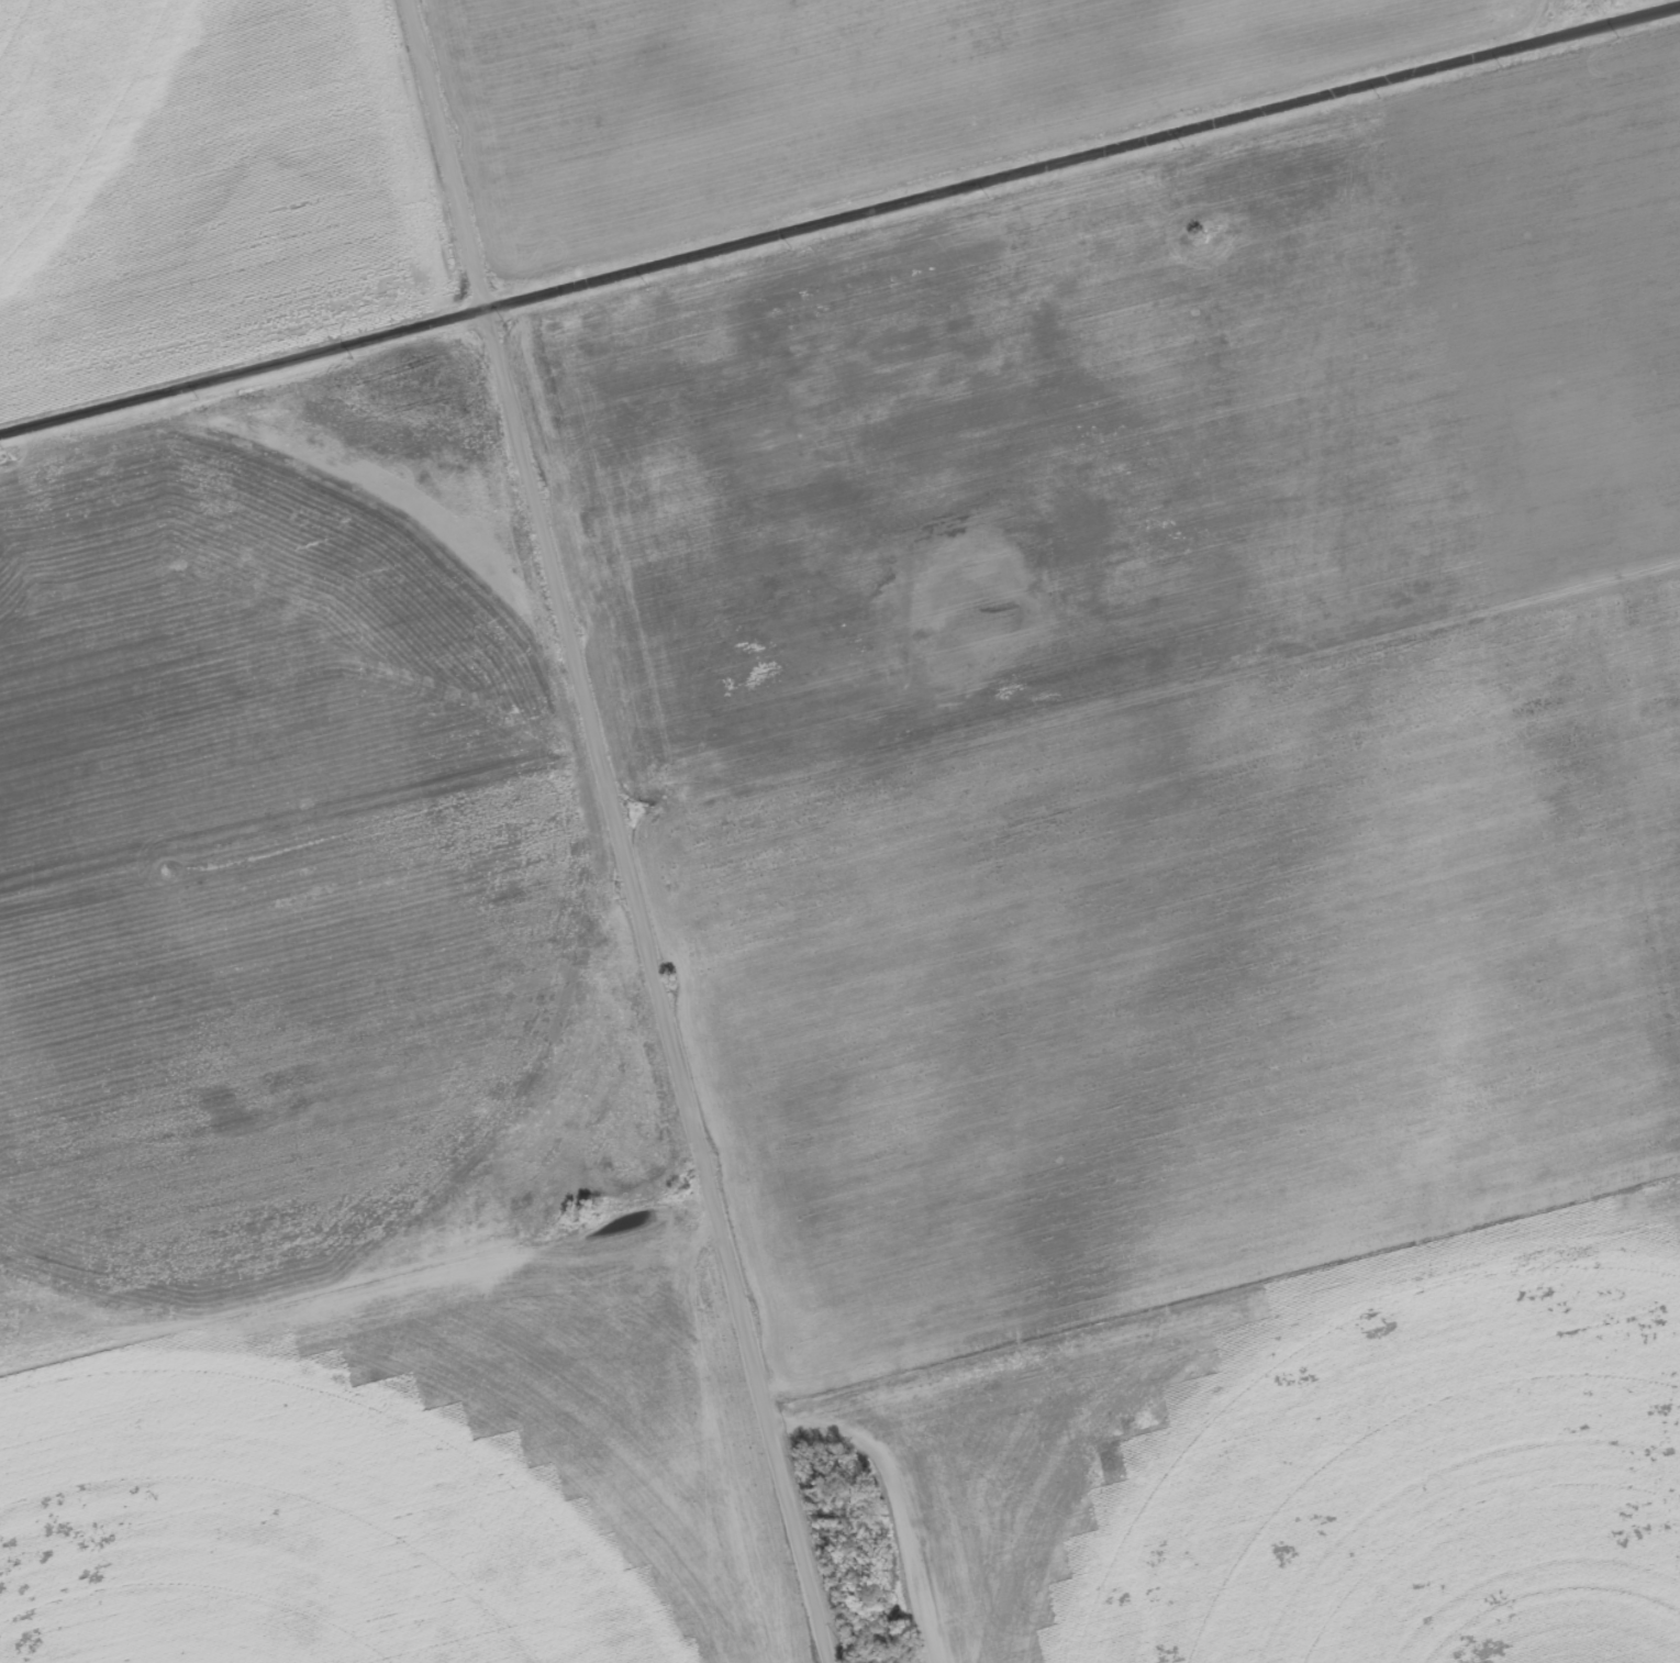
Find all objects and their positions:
road: (839, 220)
road: (616, 831)

